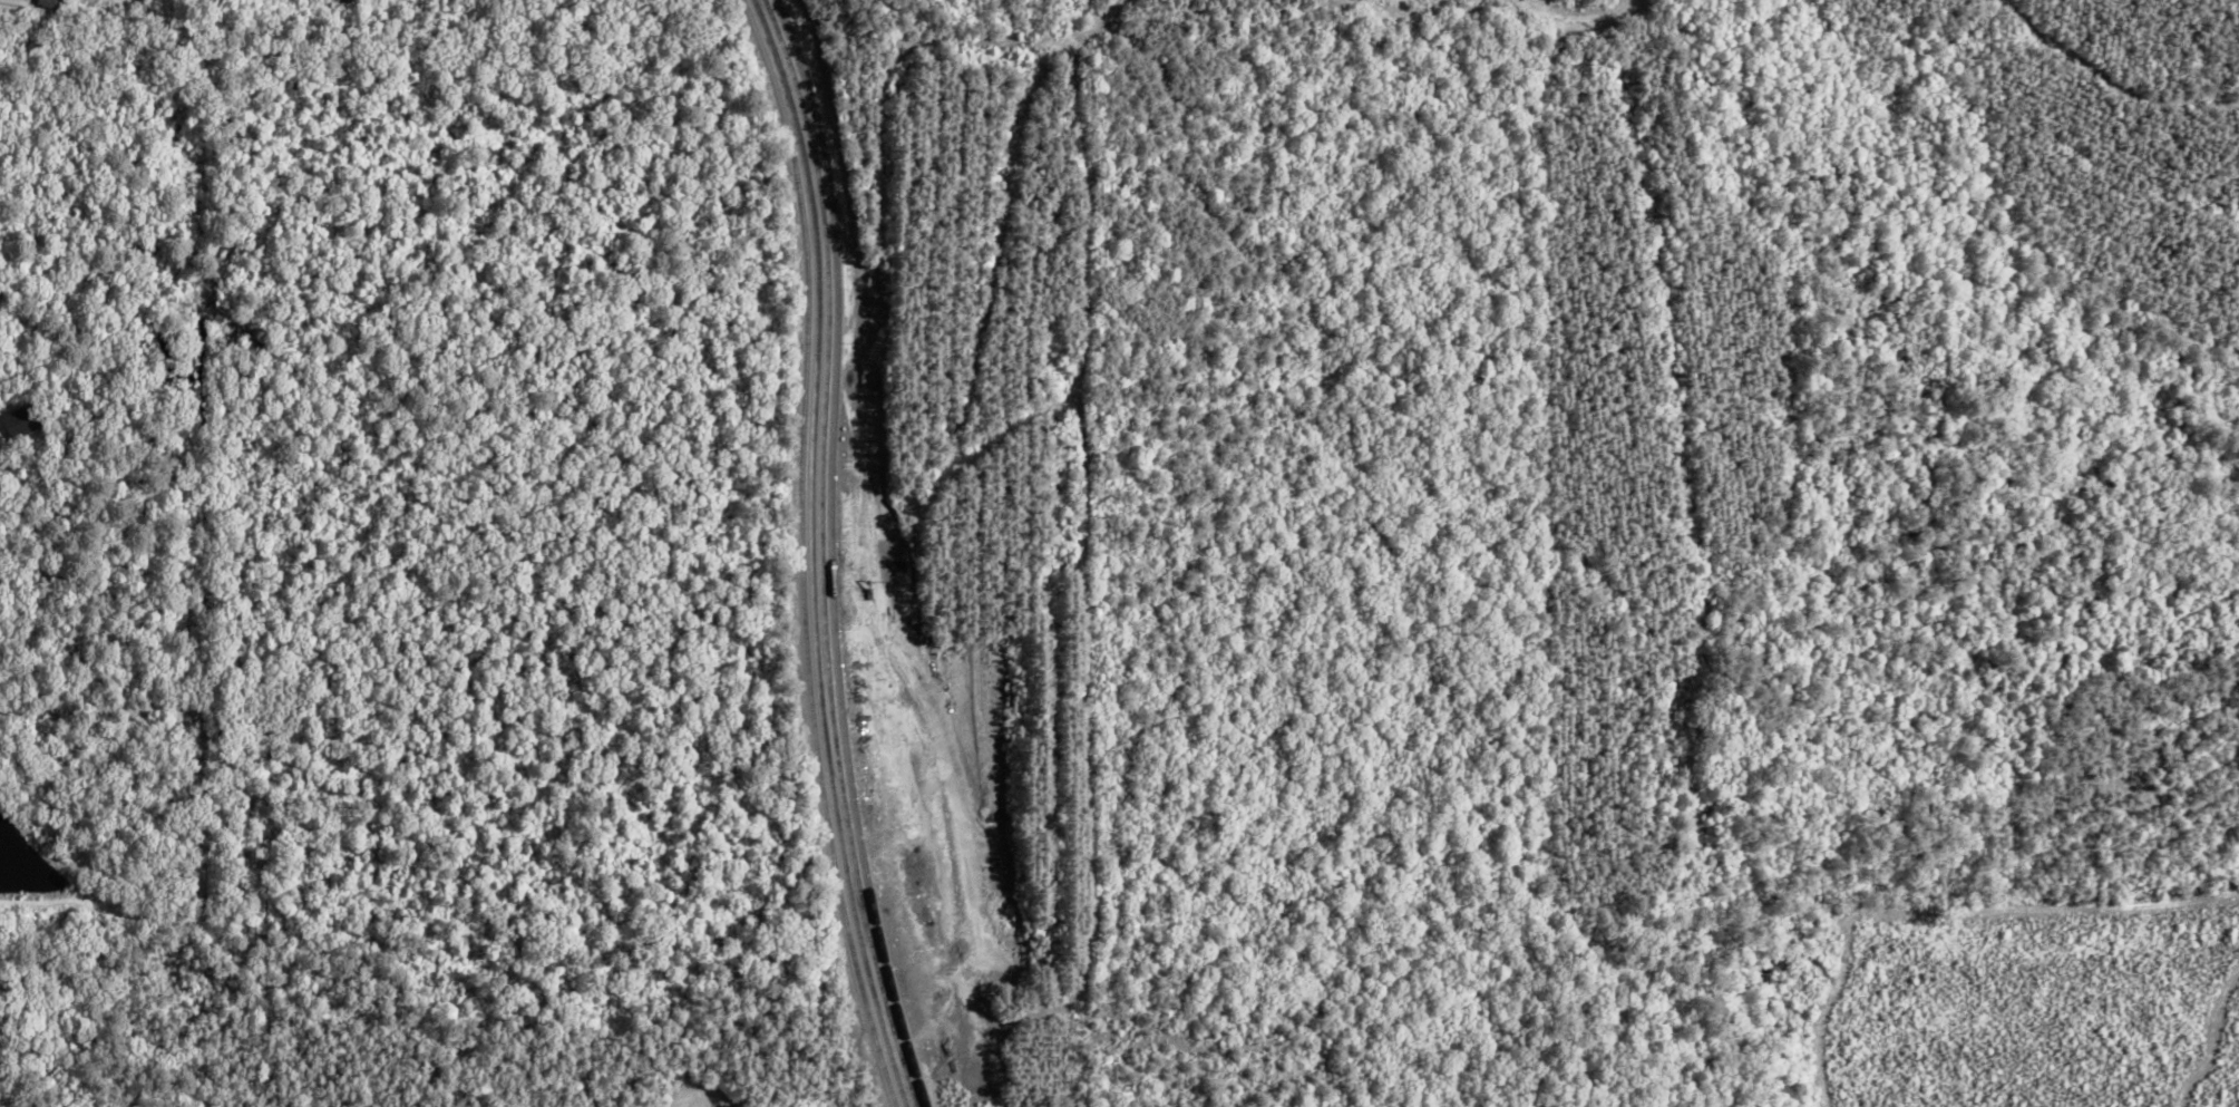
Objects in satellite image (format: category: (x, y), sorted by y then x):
building: (22, 420)
railway: (808, 552)
railway: (821, 552)
railway: (831, 553)
railway: (841, 553)

